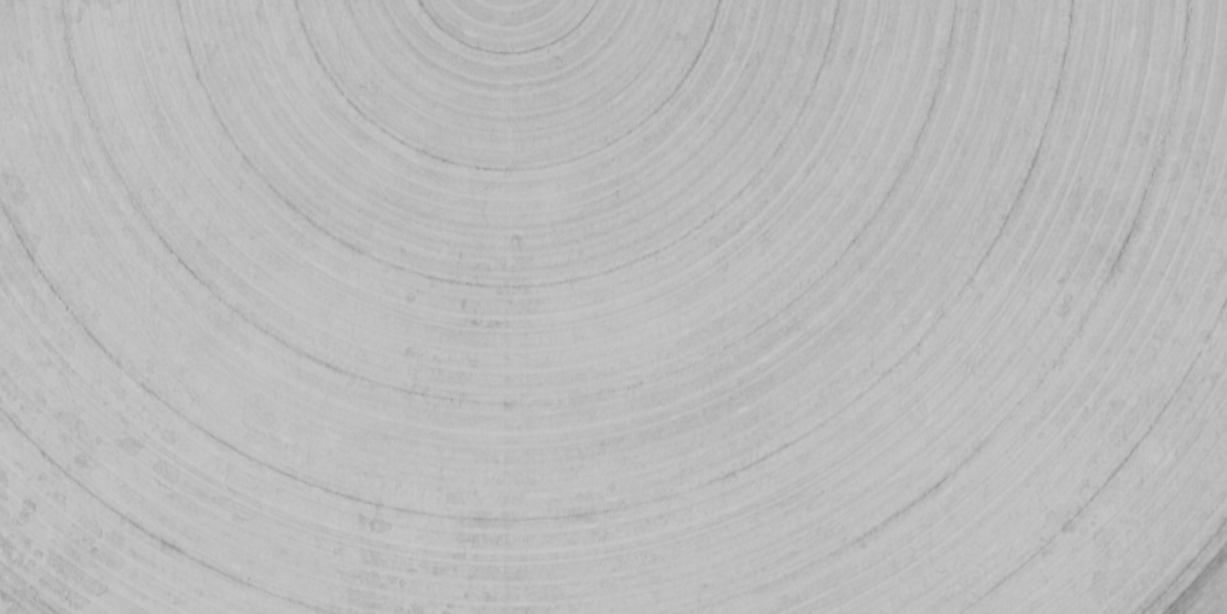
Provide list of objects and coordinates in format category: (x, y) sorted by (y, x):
crop: (612, 306)

